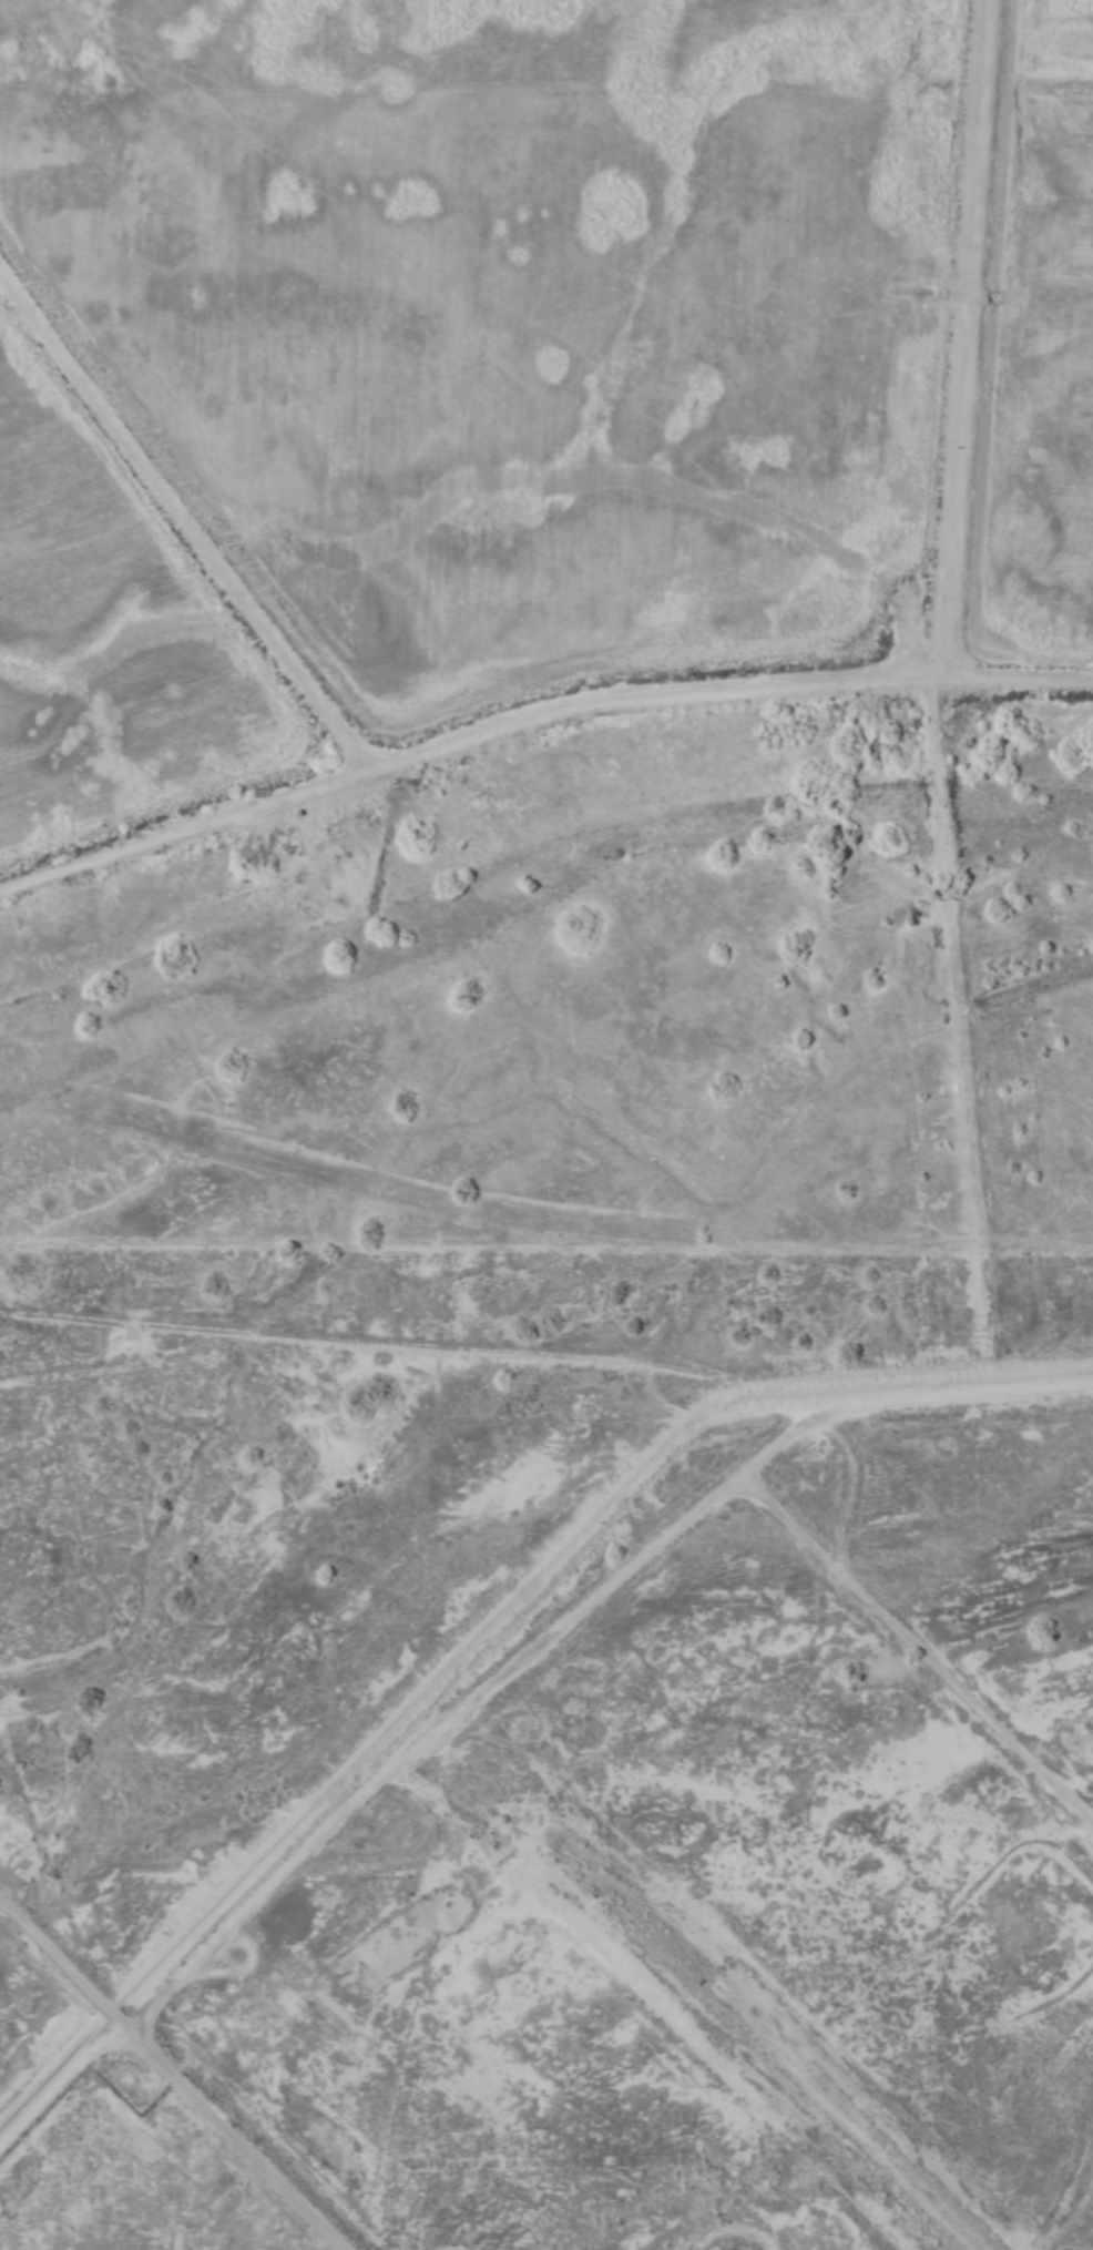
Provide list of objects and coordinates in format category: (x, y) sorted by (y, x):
road: (176, 517)
road: (535, 704)
road: (539, 1554)
road: (53, 2057)
road: (174, 2073)

